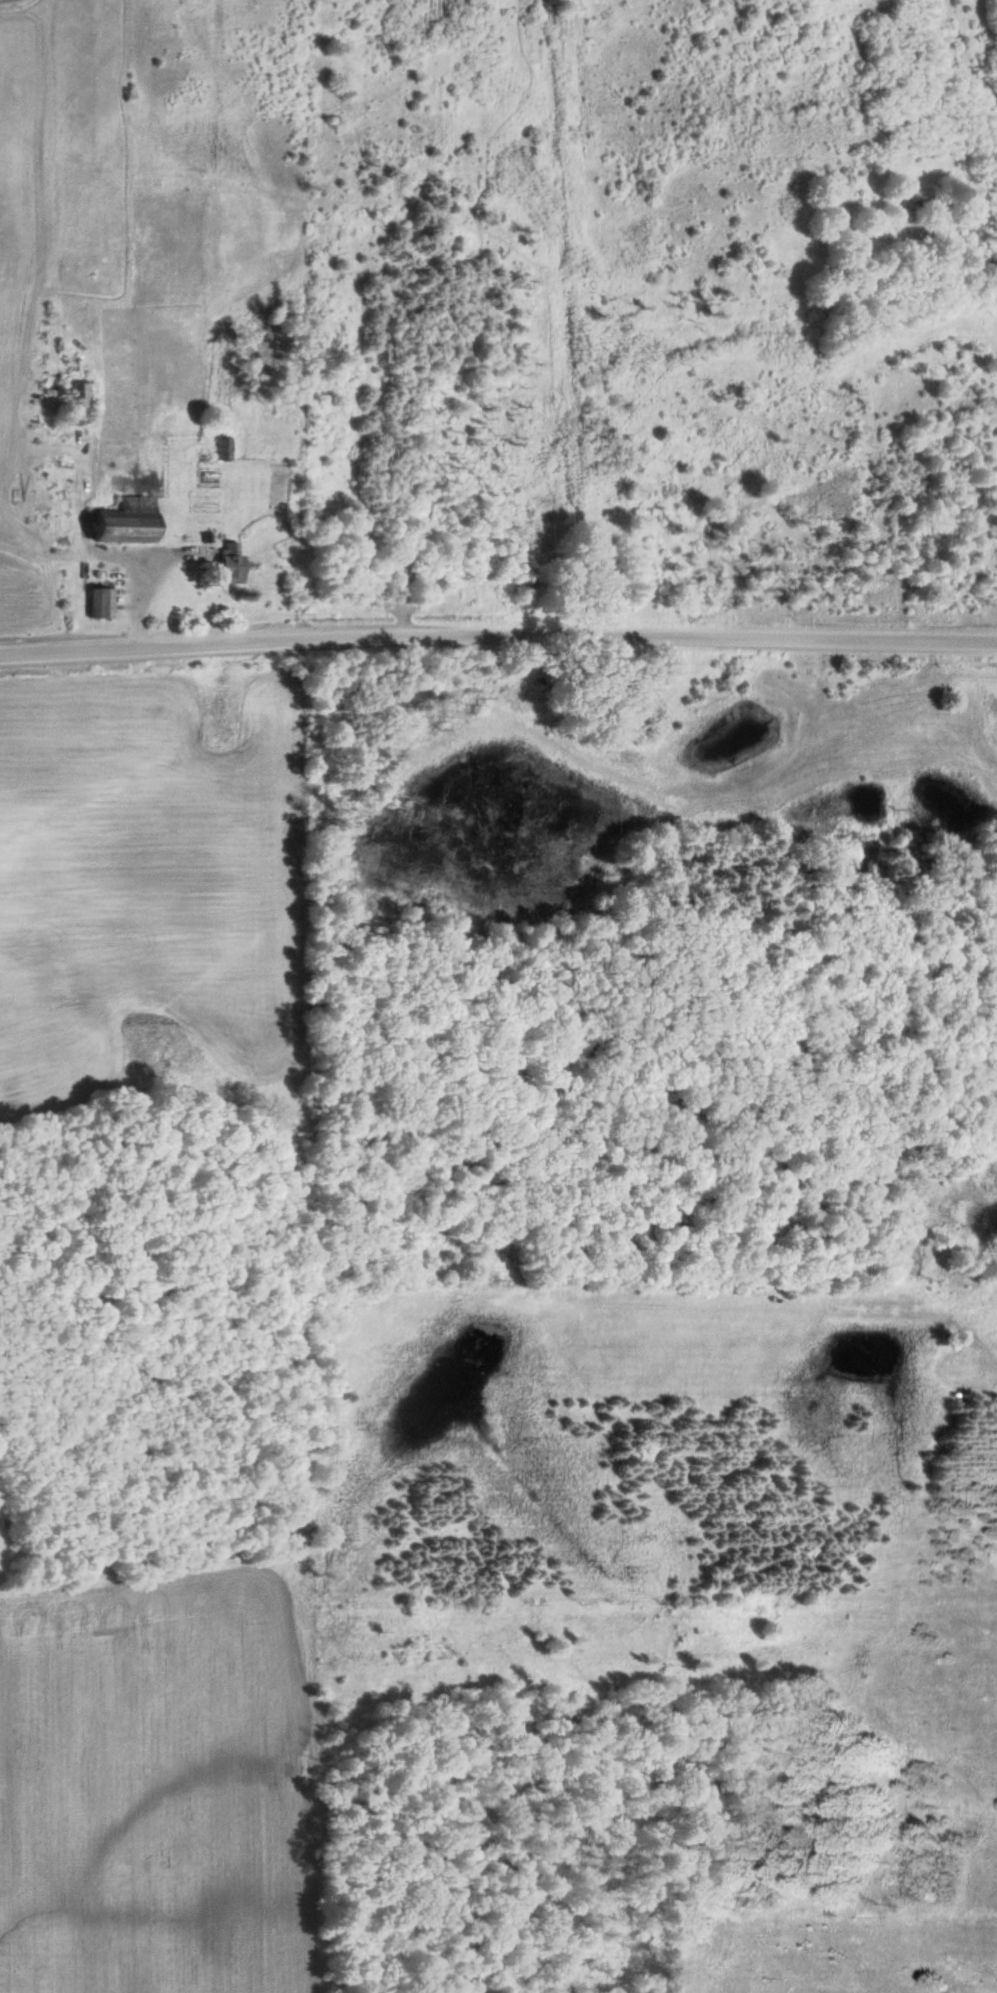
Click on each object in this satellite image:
building: (74, 403)
building: (222, 564)
building: (94, 604)
road: (498, 636)

